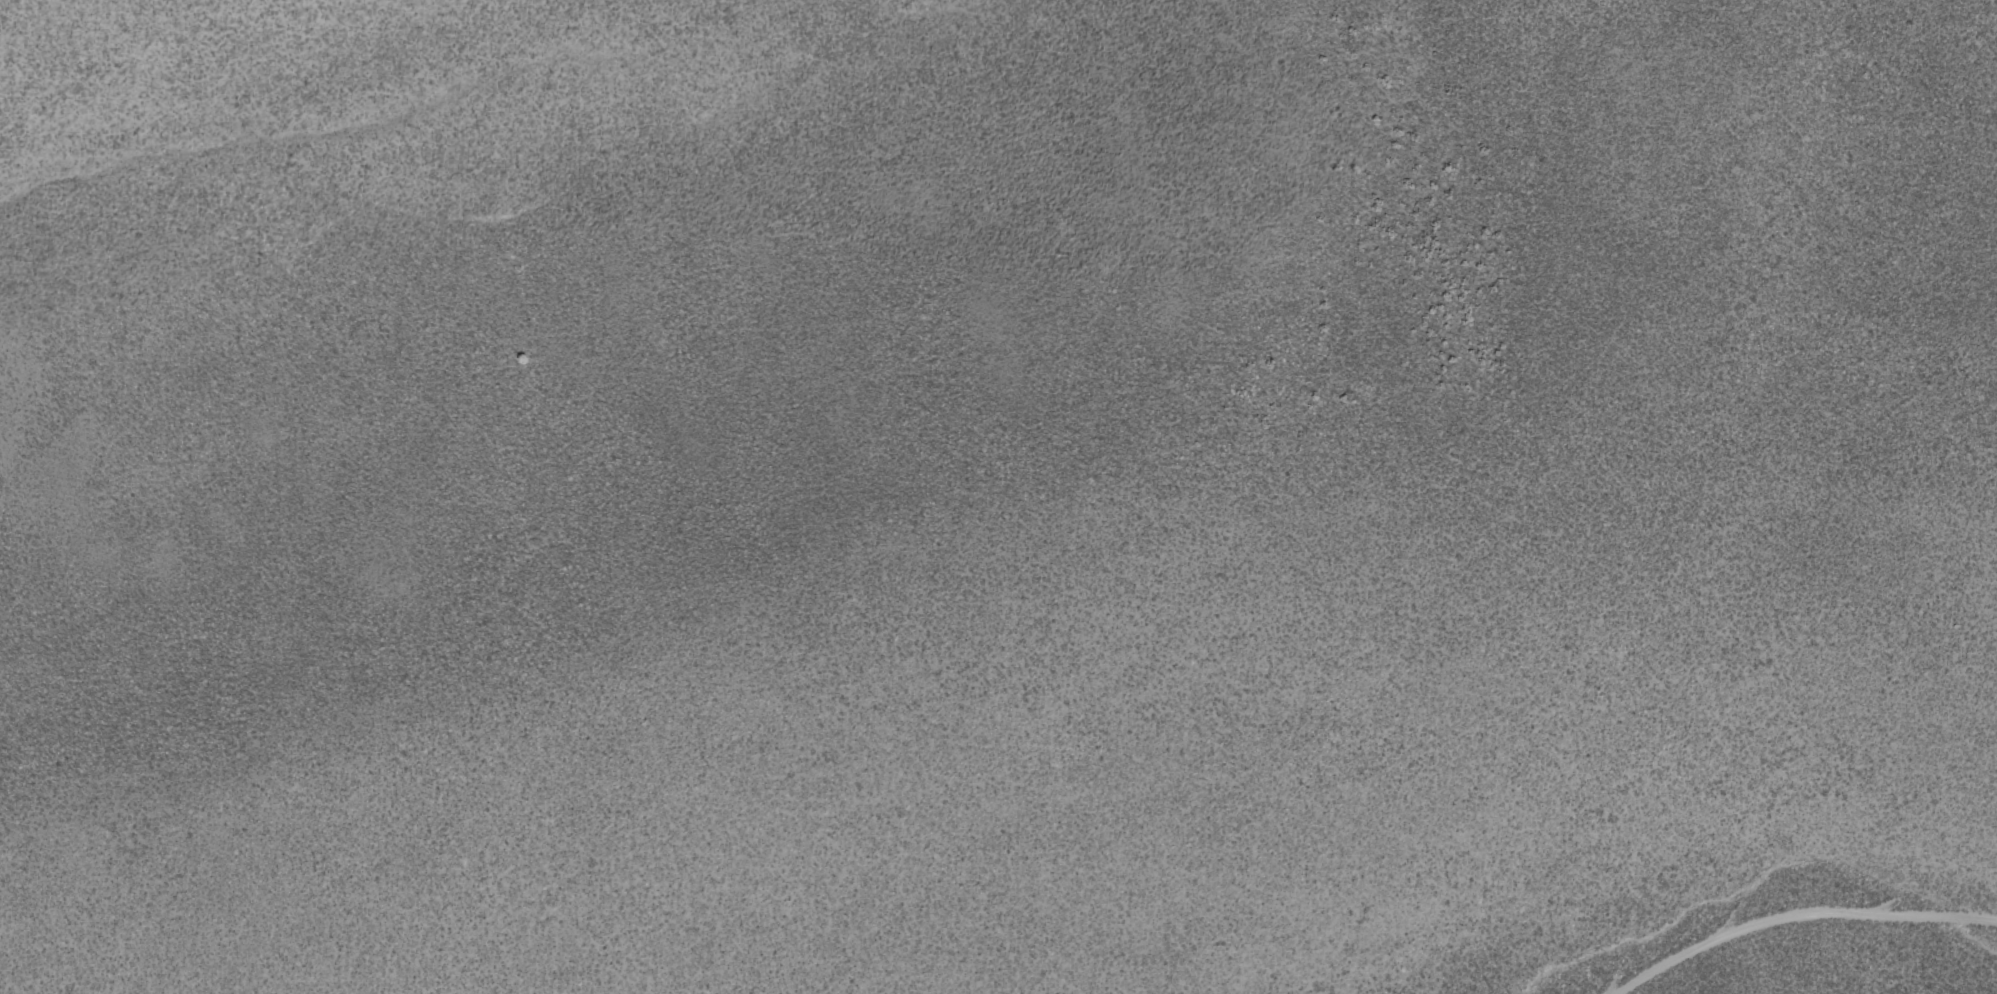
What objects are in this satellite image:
road: (1797, 917)

